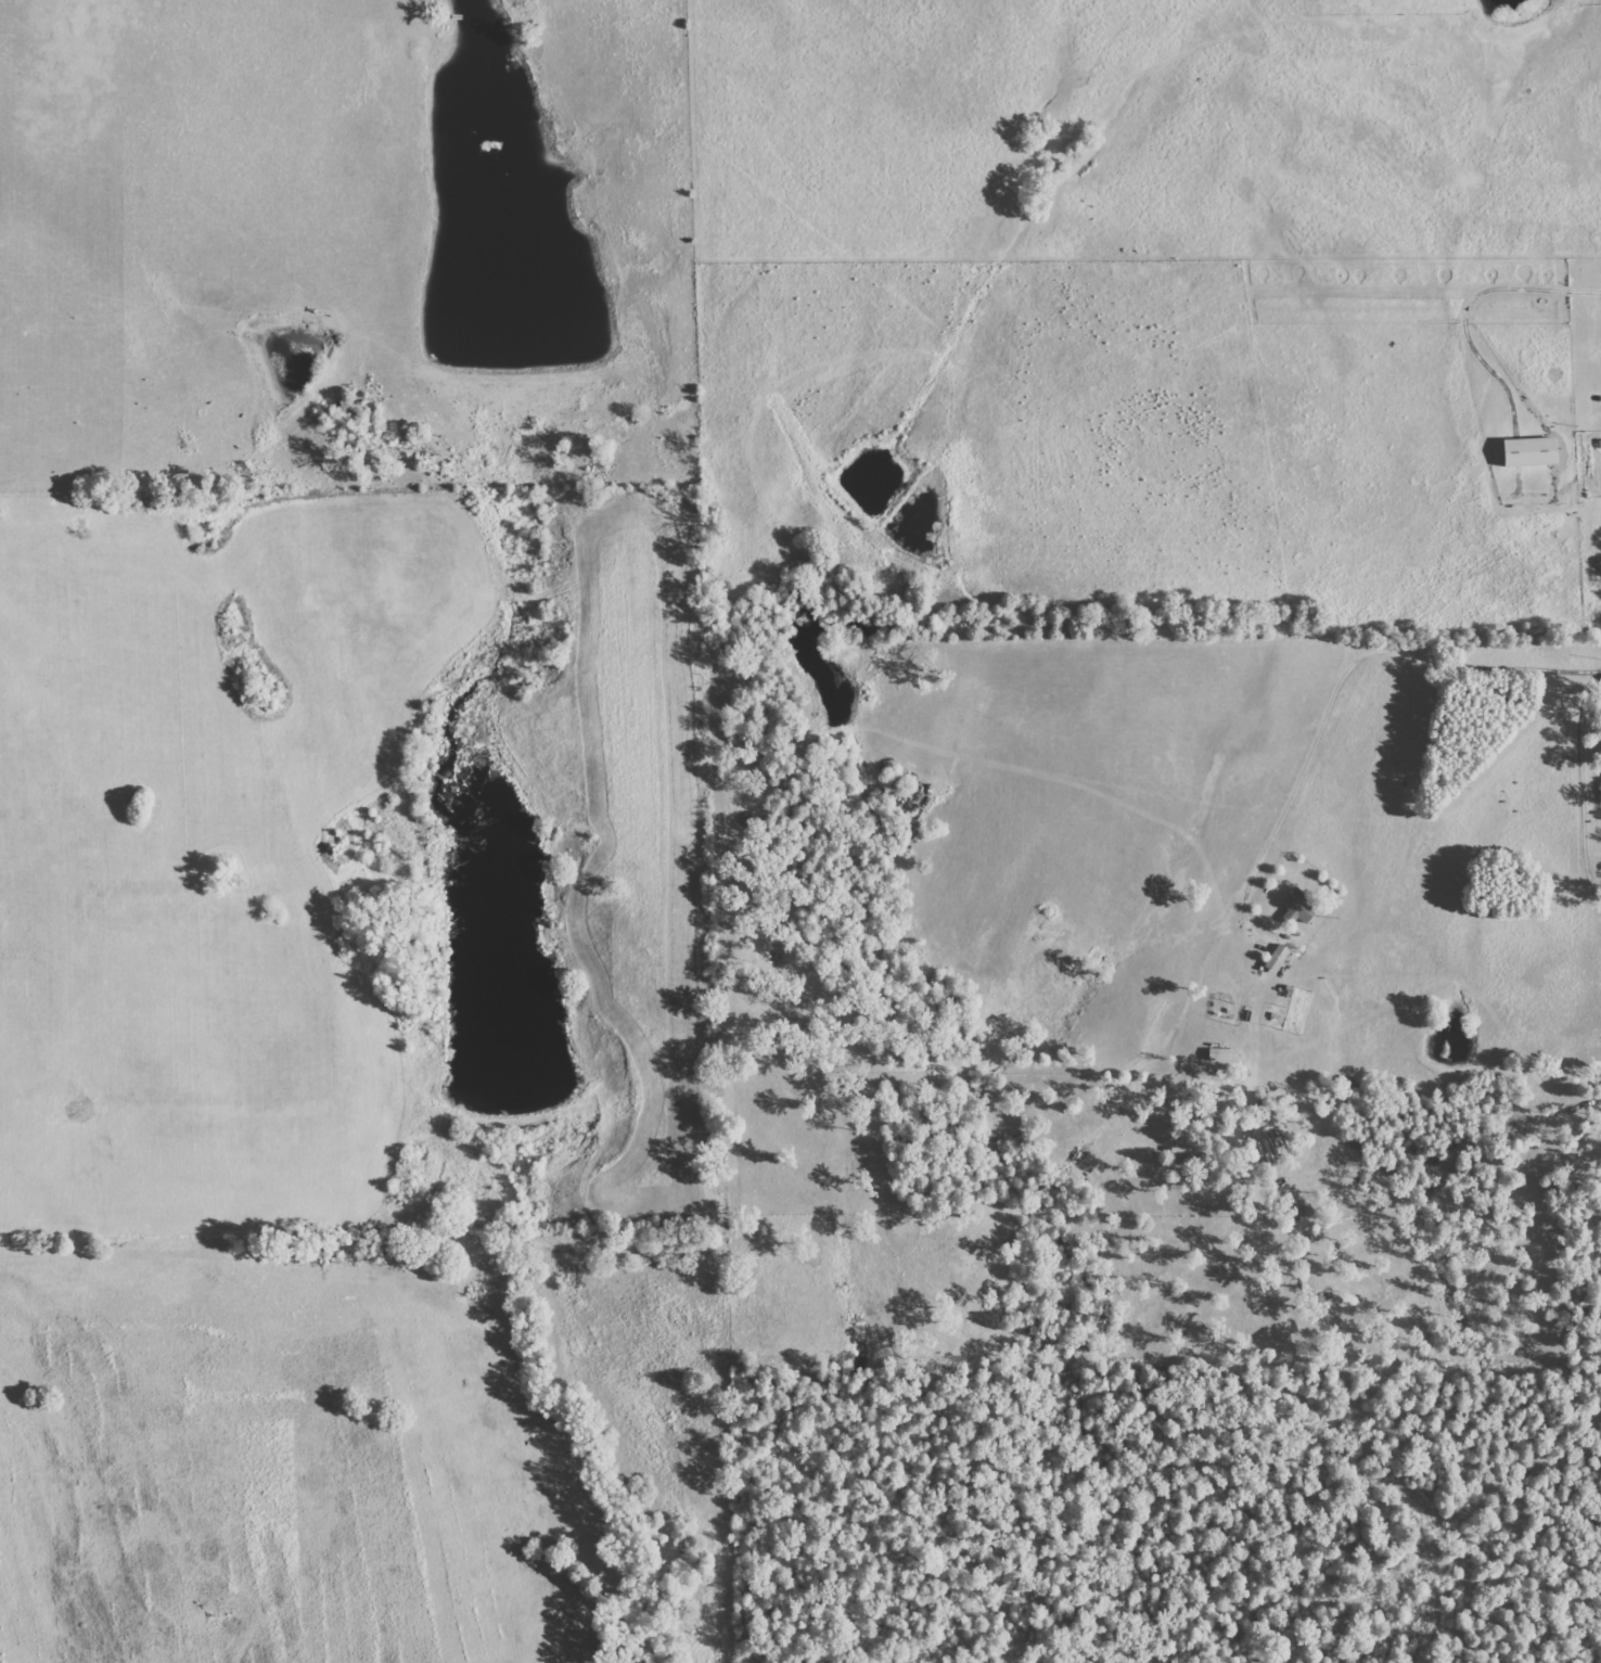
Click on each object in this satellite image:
building: (1530, 452)
building: (1301, 905)
building: (1278, 958)
building: (1219, 1054)

